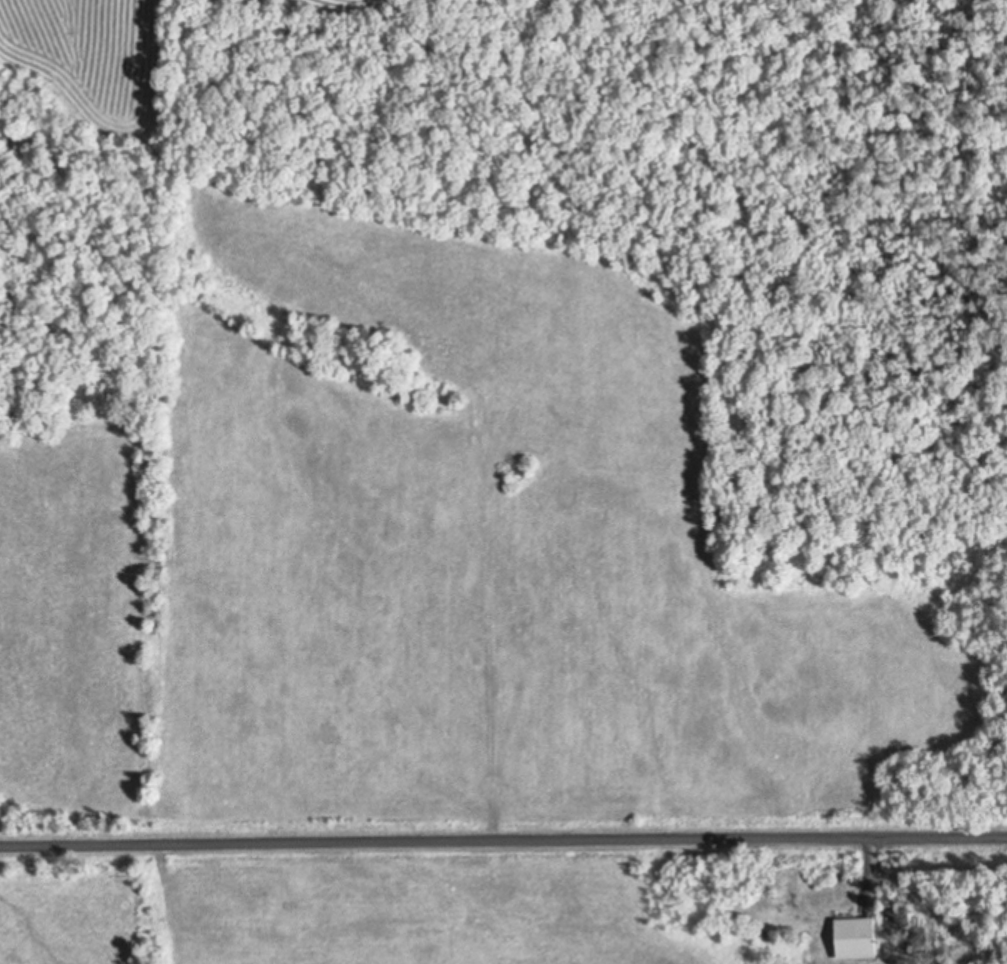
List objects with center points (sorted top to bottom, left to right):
road: (503, 841)
building: (899, 919)
building: (856, 938)

